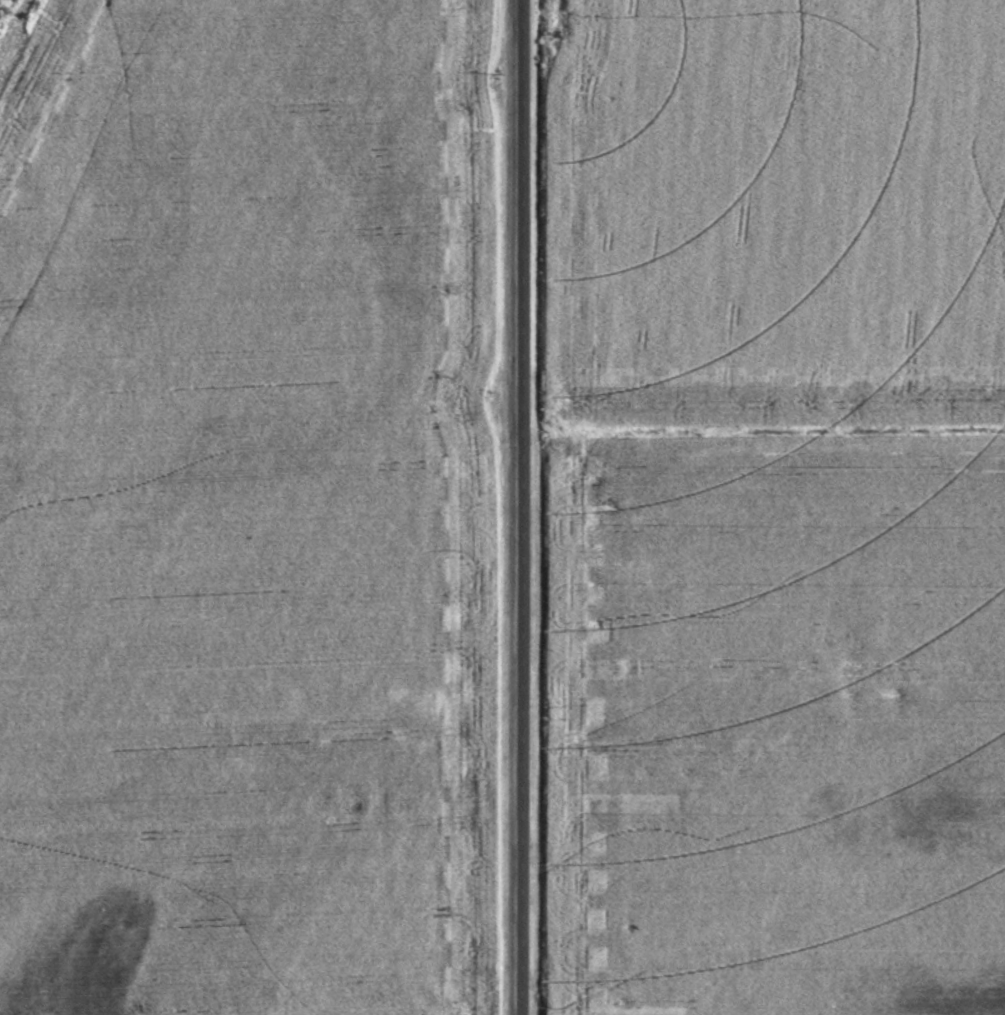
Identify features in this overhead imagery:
road: (528, 507)

